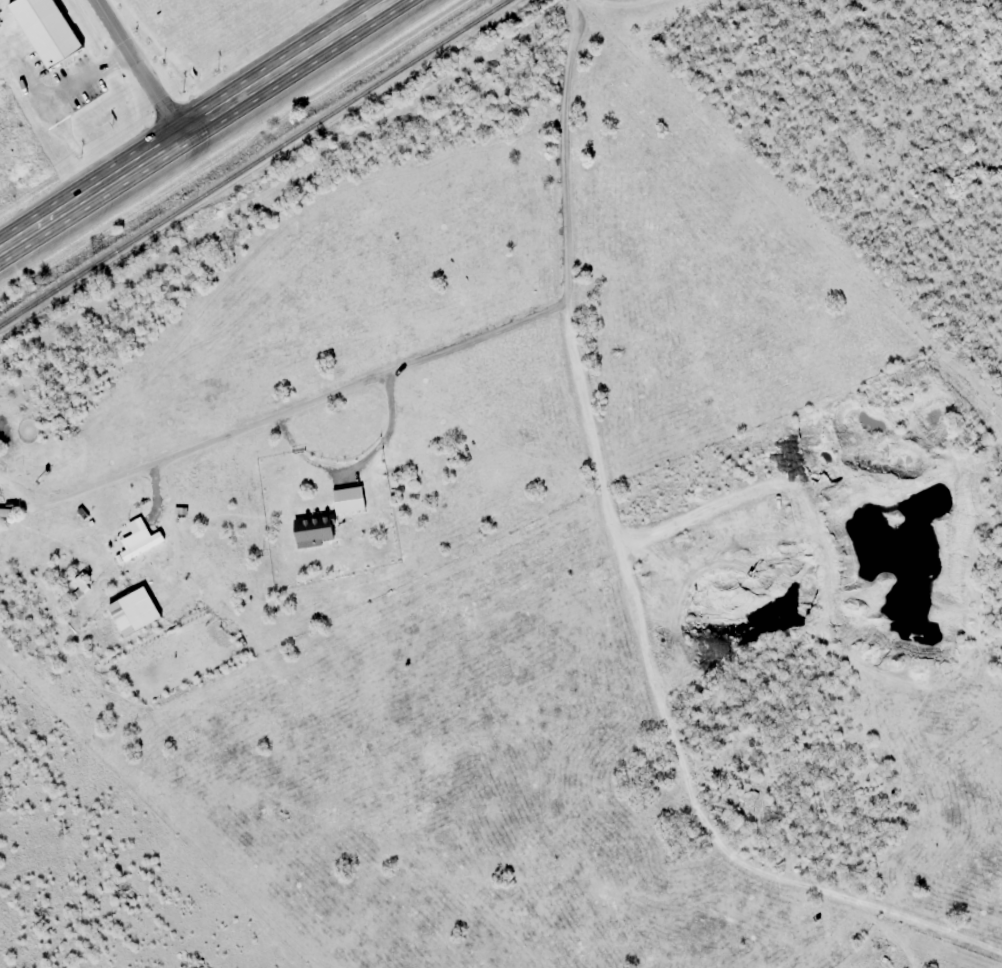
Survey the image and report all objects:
building: (45, 29)
road: (137, 69)
road: (198, 128)
railway: (256, 164)
road: (480, 338)
building: (4, 512)
building: (138, 539)

